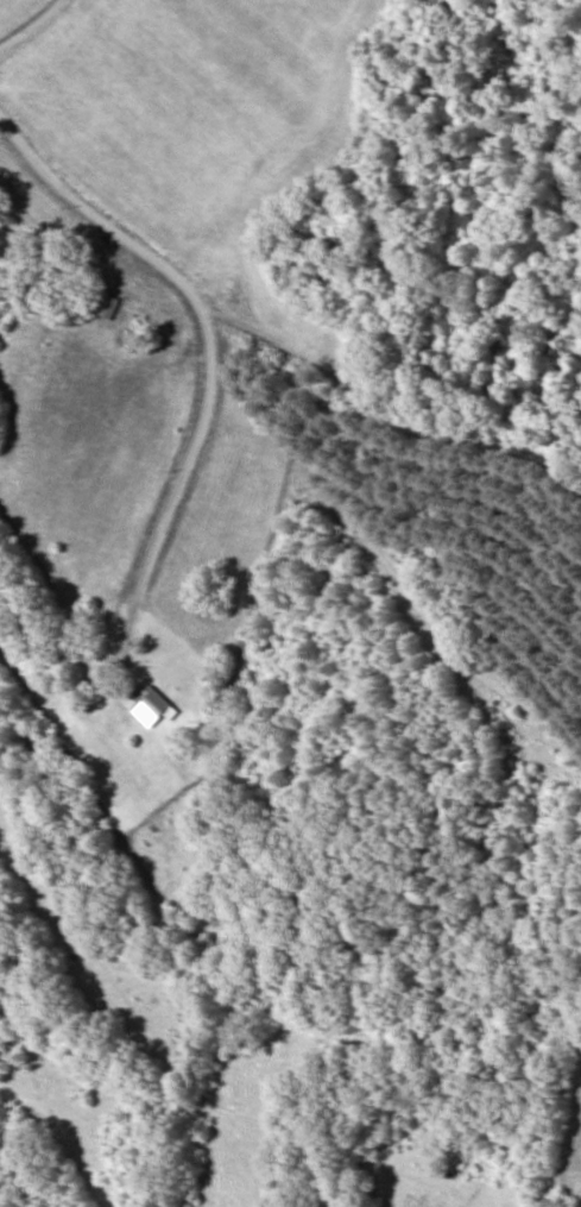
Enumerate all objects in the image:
building: (108, 307)
road: (334, 388)
building: (153, 708)
road: (279, 822)

